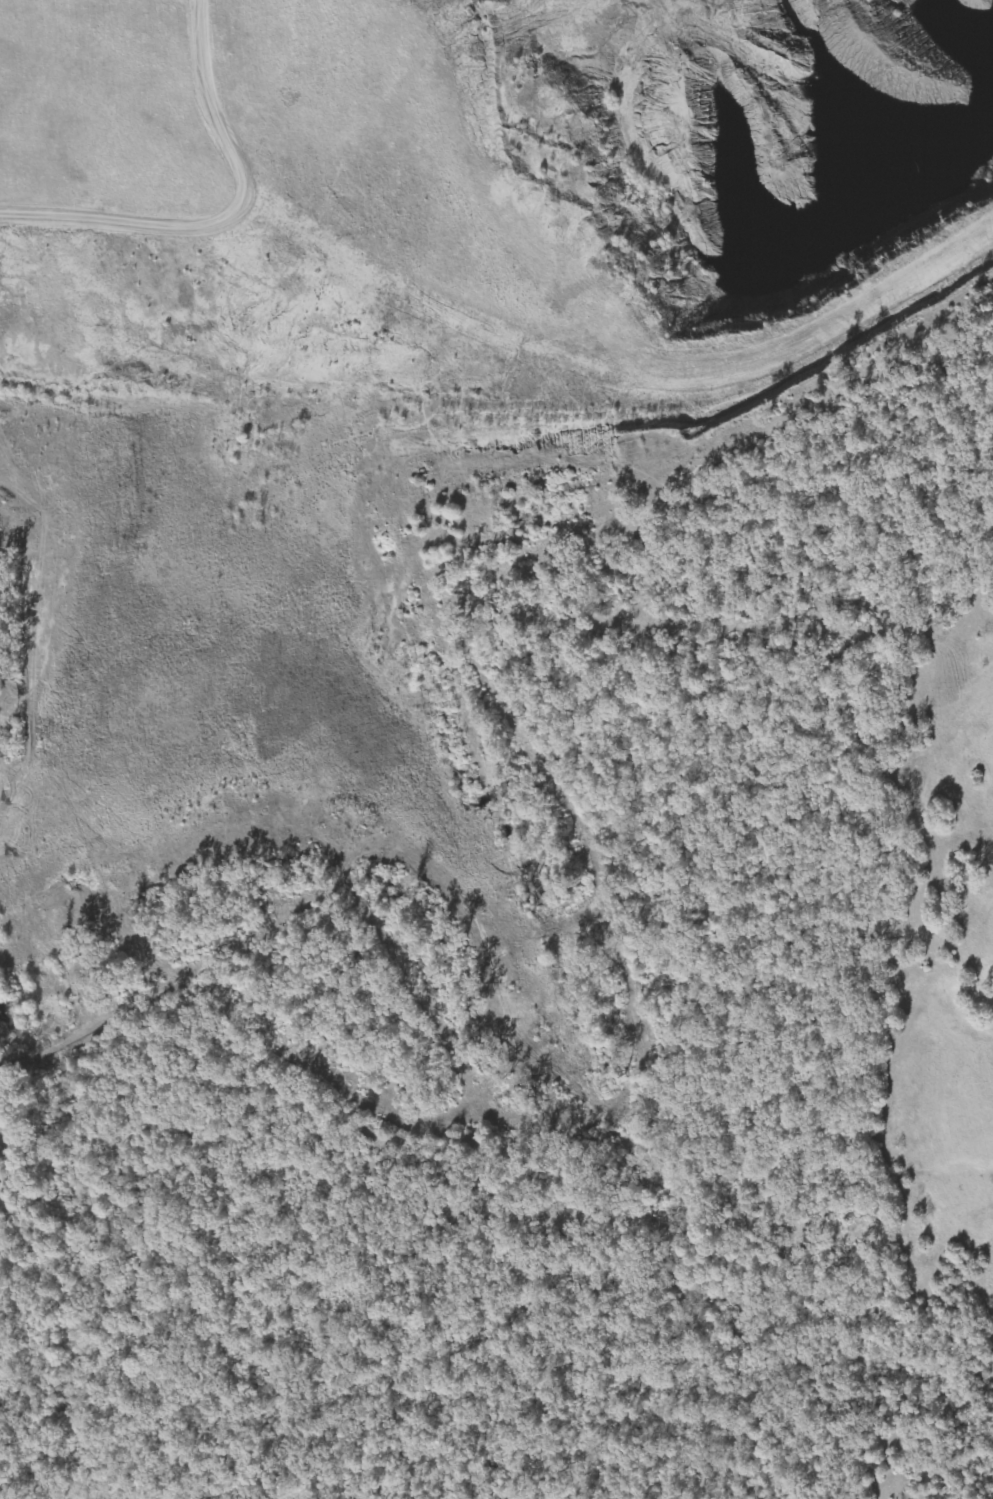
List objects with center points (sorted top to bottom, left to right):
quarry: (474, 195)

